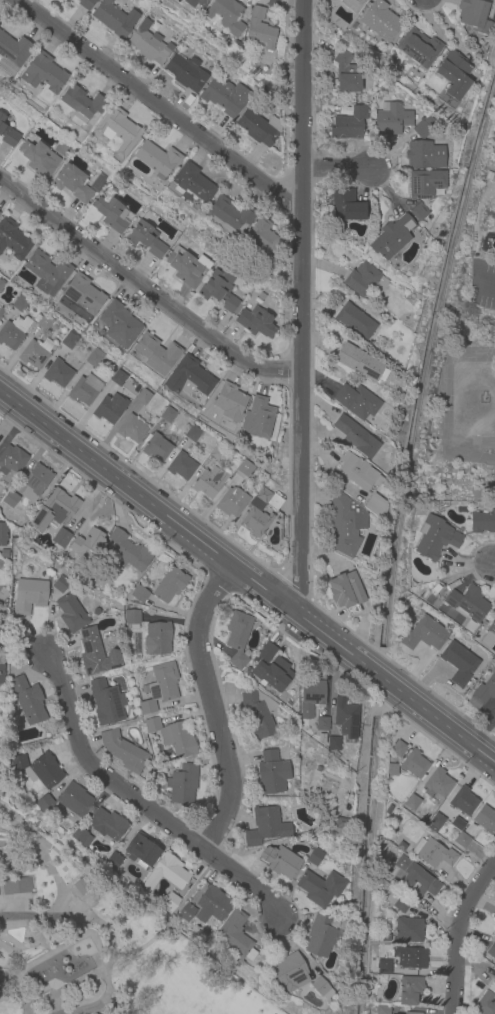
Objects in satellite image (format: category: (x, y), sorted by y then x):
building: (195, 3)
building: (86, 4)
building: (353, 4)
building: (225, 15)
building: (474, 15)
building: (114, 18)
building: (380, 20)
building: (259, 30)
building: (149, 43)
building: (418, 47)
building: (13, 52)
building: (43, 72)
building: (186, 73)
building: (346, 73)
building: (454, 74)
building: (225, 96)
building: (81, 104)
road: (162, 105)
building: (391, 118)
building: (349, 123)
building: (259, 127)
building: (423, 129)
building: (118, 132)
building: (7, 133)
building: (61, 148)
building: (424, 155)
building: (39, 159)
building: (157, 159)
road: (343, 172)
building: (96, 181)
building: (193, 182)
building: (71, 183)
building: (425, 183)
building: (345, 205)
building: (418, 211)
building: (111, 214)
building: (231, 215)
building: (391, 237)
building: (146, 239)
building: (259, 239)
building: (13, 240)
building: (186, 267)
building: (46, 272)
building: (360, 278)
building: (1, 284)
parking lot: (482, 285)
building: (220, 290)
road: (147, 291)
building: (83, 293)
building: (261, 297)
building: (19, 304)
road: (306, 307)
building: (1, 311)
building: (354, 320)
building: (44, 321)
building: (256, 321)
building: (119, 324)
building: (13, 332)
building: (70, 339)
building: (34, 353)
building: (156, 353)
building: (94, 359)
building: (360, 363)
building: (57, 373)
building: (118, 377)
building: (189, 379)
road: (449, 381)
building: (86, 388)
building: (143, 396)
building: (356, 401)
building: (230, 402)
building: (110, 407)
building: (167, 415)
building: (257, 417)
building: (131, 429)
building: (192, 433)
building: (355, 436)
building: (157, 447)
road: (471, 448)
road: (452, 451)
building: (217, 452)
road: (476, 457)
building: (11, 463)
building: (181, 466)
building: (243, 467)
building: (358, 472)
building: (35, 482)
building: (209, 482)
road: (483, 487)
building: (10, 499)
building: (265, 500)
building: (232, 502)
building: (376, 506)
building: (55, 510)
building: (256, 521)
building: (483, 521)
building: (346, 524)
building: (3, 533)
building: (61, 538)
building: (435, 538)
building: (89, 545)
building: (129, 551)
building: (4, 553)
building: (1, 563)
road: (494, 568)
road: (246, 576)
building: (60, 584)
building: (169, 585)
building: (346, 592)
building: (139, 594)
building: (29, 596)
building: (468, 603)
building: (494, 608)
building: (71, 614)
building: (132, 617)
building: (425, 634)
building: (488, 635)
building: (238, 637)
building: (158, 638)
building: (96, 653)
building: (266, 653)
building: (459, 663)
building: (272, 674)
building: (1, 679)
building: (159, 687)
building: (483, 690)
building: (311, 698)
building: (28, 700)
building: (106, 703)
road: (216, 710)
building: (259, 713)
building: (344, 717)
building: (321, 724)
building: (173, 737)
building: (323, 740)
building: (333, 744)
building: (398, 749)
building: (123, 751)
building: (414, 764)
building: (392, 769)
building: (38, 770)
building: (272, 772)
building: (182, 784)
building: (437, 784)
building: (75, 800)
building: (463, 801)
building: (412, 802)
building: (44, 804)
road: (139, 805)
building: (485, 820)
building: (436, 821)
building: (340, 823)
building: (106, 824)
building: (266, 827)
building: (80, 836)
building: (461, 839)
building: (142, 850)
road: (43, 853)
building: (433, 854)
building: (315, 856)
building: (113, 861)
building: (279, 861)
road: (68, 862)
building: (166, 873)
road: (71, 881)
building: (413, 881)
building: (82, 885)
building: (16, 886)
road: (194, 886)
building: (320, 888)
road: (82, 902)
building: (169, 902)
building: (398, 902)
building: (211, 905)
building: (185, 912)
road: (37, 917)
road: (28, 930)
building: (409, 930)
building: (321, 935)
road: (459, 935)
building: (235, 937)
road: (75, 939)
park: (95, 943)
road: (149, 943)
building: (491, 950)
building: (383, 952)
road: (11, 955)
road: (75, 957)
building: (413, 957)
road: (109, 961)
building: (384, 967)
road: (15, 970)
building: (290, 973)
road: (15, 983)
road: (70, 984)
building: (321, 988)
building: (492, 988)
road: (51, 989)
building: (410, 989)
road: (29, 997)
road: (109, 1004)
building: (485, 1004)
building: (382, 1009)
building: (412, 1013)

